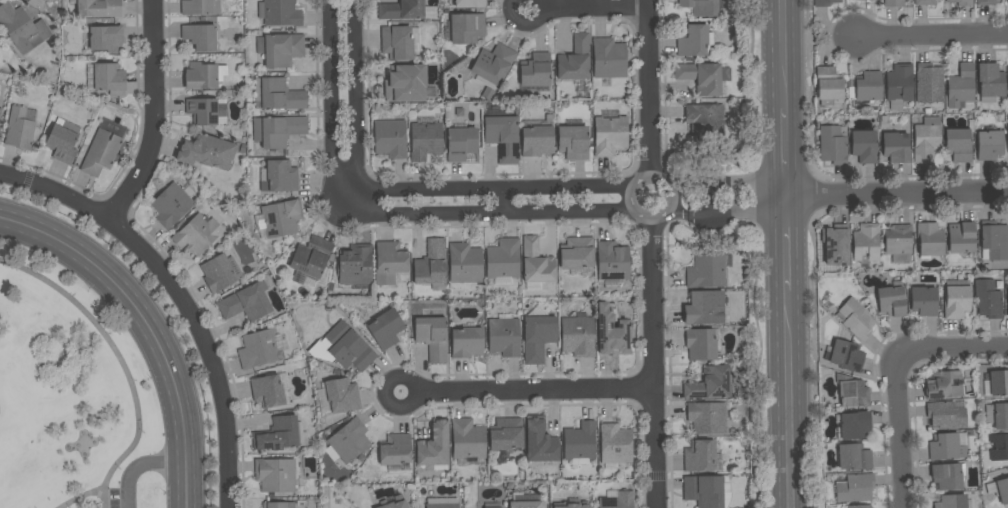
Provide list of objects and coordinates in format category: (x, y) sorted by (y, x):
building: (43, 0)
building: (1007, 1)
building: (924, 2)
building: (961, 2)
building: (985, 2)
building: (469, 3)
building: (825, 3)
building: (894, 3)
building: (200, 7)
building: (702, 7)
building: (99, 8)
road: (593, 8)
building: (406, 10)
building: (282, 13)
road: (525, 25)
building: (22, 28)
building: (466, 28)
road: (931, 35)
building: (200, 37)
building: (106, 38)
building: (692, 41)
building: (397, 42)
building: (283, 49)
road: (784, 54)
building: (610, 58)
building: (576, 59)
building: (492, 68)
building: (535, 70)
building: (204, 76)
building: (1007, 76)
building: (703, 77)
building: (109, 79)
building: (991, 81)
building: (406, 83)
building: (929, 84)
building: (828, 85)
building: (899, 85)
building: (865, 86)
building: (961, 86)
road: (648, 89)
building: (278, 94)
road: (331, 108)
road: (357, 108)
building: (0, 111)
building: (202, 111)
road: (153, 117)
building: (705, 120)
building: (19, 129)
building: (277, 130)
building: (1007, 132)
building: (610, 136)
building: (390, 138)
building: (502, 138)
building: (426, 139)
building: (927, 139)
building: (63, 141)
building: (537, 141)
building: (573, 141)
building: (461, 143)
building: (833, 144)
building: (896, 145)
building: (958, 145)
building: (990, 145)
building: (864, 146)
building: (207, 152)
building: (101, 153)
road: (785, 153)
building: (279, 176)
road: (483, 189)
road: (897, 194)
road: (736, 199)
road: (680, 201)
building: (171, 205)
road: (634, 211)
road: (484, 214)
building: (282, 218)
building: (197, 234)
building: (961, 237)
building: (898, 239)
building: (930, 240)
building: (994, 242)
road: (786, 243)
building: (834, 243)
building: (866, 243)
building: (577, 253)
building: (503, 259)
building: (312, 261)
building: (537, 262)
building: (612, 262)
building: (431, 263)
building: (465, 263)
building: (391, 264)
building: (355, 265)
building: (707, 271)
building: (217, 273)
road: (178, 296)
building: (988, 299)
building: (1007, 299)
building: (892, 300)
building: (924, 301)
building: (956, 301)
building: (246, 302)
building: (704, 308)
building: (856, 318)
road: (146, 327)
building: (386, 328)
building: (432, 332)
building: (613, 333)
building: (504, 336)
building: (578, 336)
building: (538, 337)
building: (467, 342)
building: (700, 344)
building: (343, 348)
building: (259, 349)
building: (846, 355)
road: (953, 359)
road: (119, 361)
road: (652, 364)
building: (999, 382)
building: (711, 384)
building: (944, 385)
building: (268, 391)
road: (532, 391)
road: (412, 393)
building: (853, 393)
building: (342, 395)
park: (71, 396)
road: (788, 399)
building: (947, 414)
building: (997, 415)
building: (707, 417)
building: (855, 425)
building: (278, 434)
building: (506, 434)
road: (902, 436)
building: (468, 439)
building: (348, 441)
building: (580, 441)
building: (539, 442)
building: (615, 444)
building: (434, 446)
building: (946, 446)
building: (998, 447)
building: (395, 450)
building: (699, 456)
building: (854, 457)
road: (138, 468)
building: (275, 474)
building: (948, 476)
building: (853, 487)
building: (999, 489)
building: (706, 490)
road: (92, 493)
parking lot: (121, 498)
building: (952, 501)
building: (394, 502)
building: (614, 502)
building: (525, 504)
building: (274, 505)
building: (443, 505)
building: (492, 505)
building: (571, 505)
building: (860, 506)

